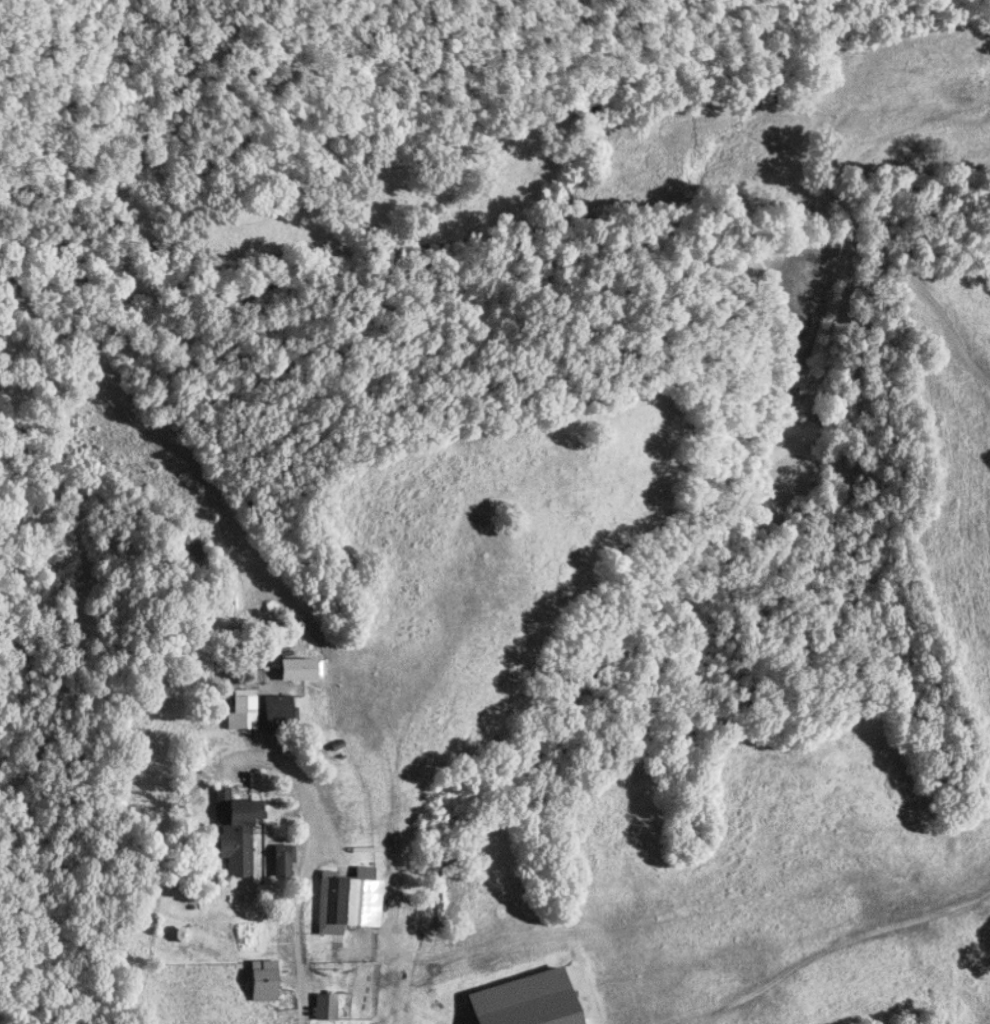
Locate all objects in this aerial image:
building: (306, 669)
building: (246, 710)
building: (280, 710)
building: (239, 832)
building: (285, 861)
road: (303, 867)
building: (351, 901)
building: (268, 980)
building: (329, 1006)

